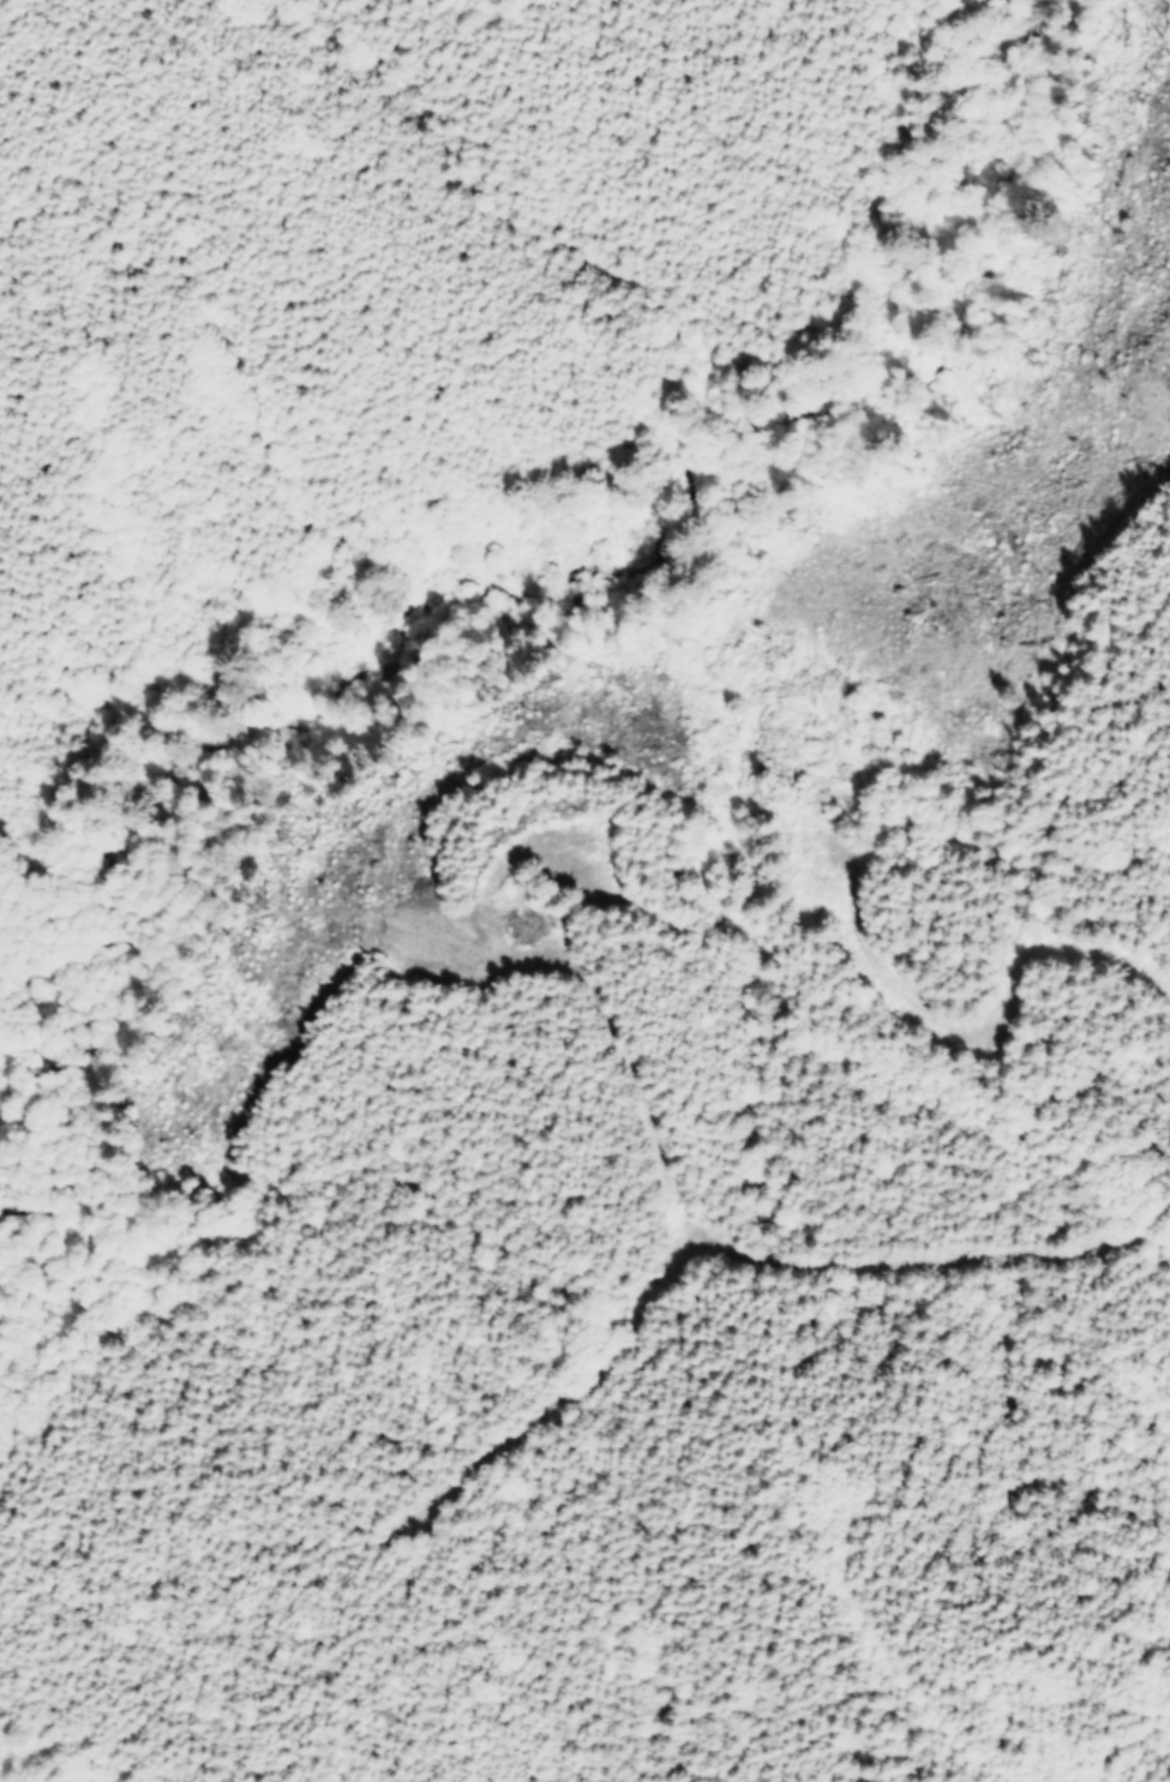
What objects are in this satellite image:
road: (1152, 1744)

